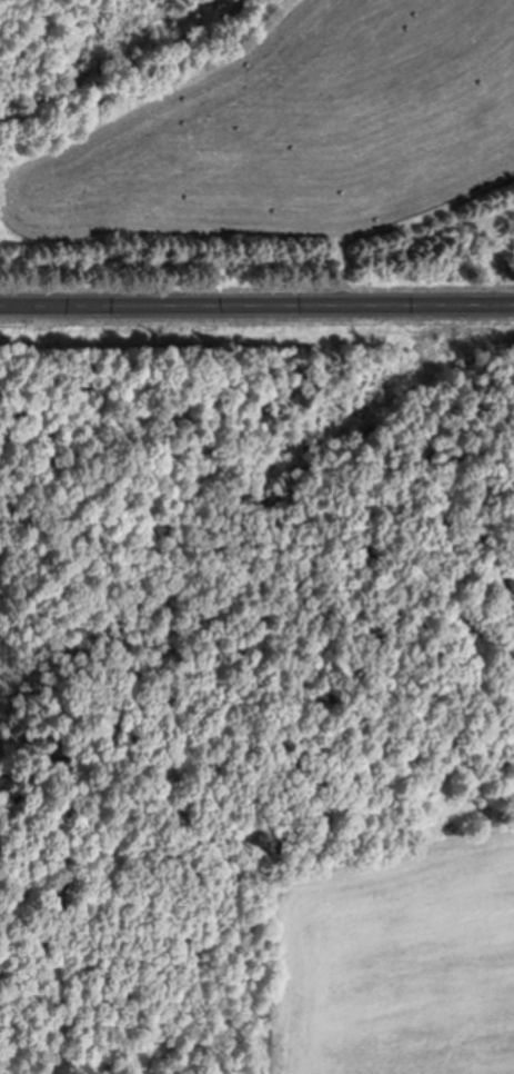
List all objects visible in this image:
road: (256, 300)

